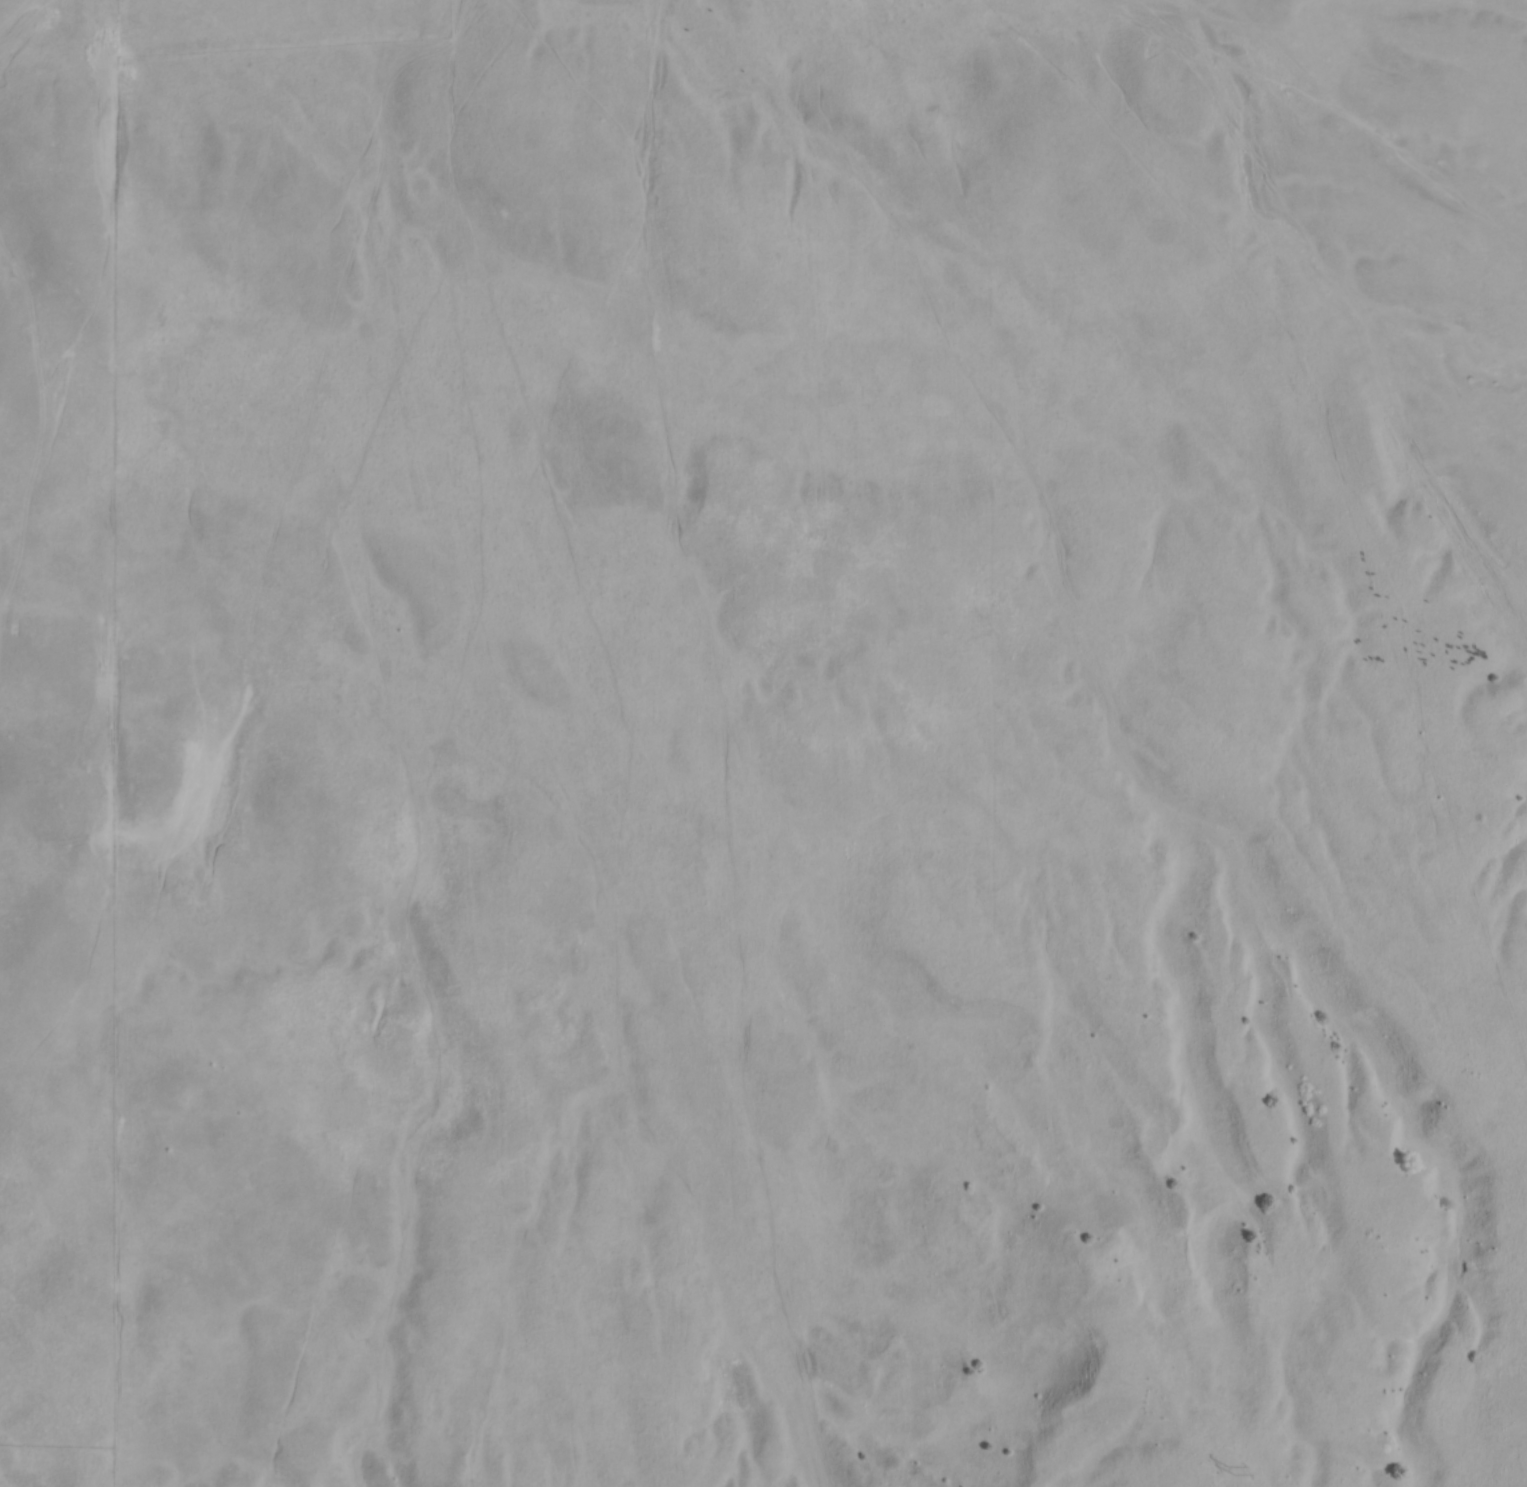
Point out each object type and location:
power tower: (1230, 1471)

